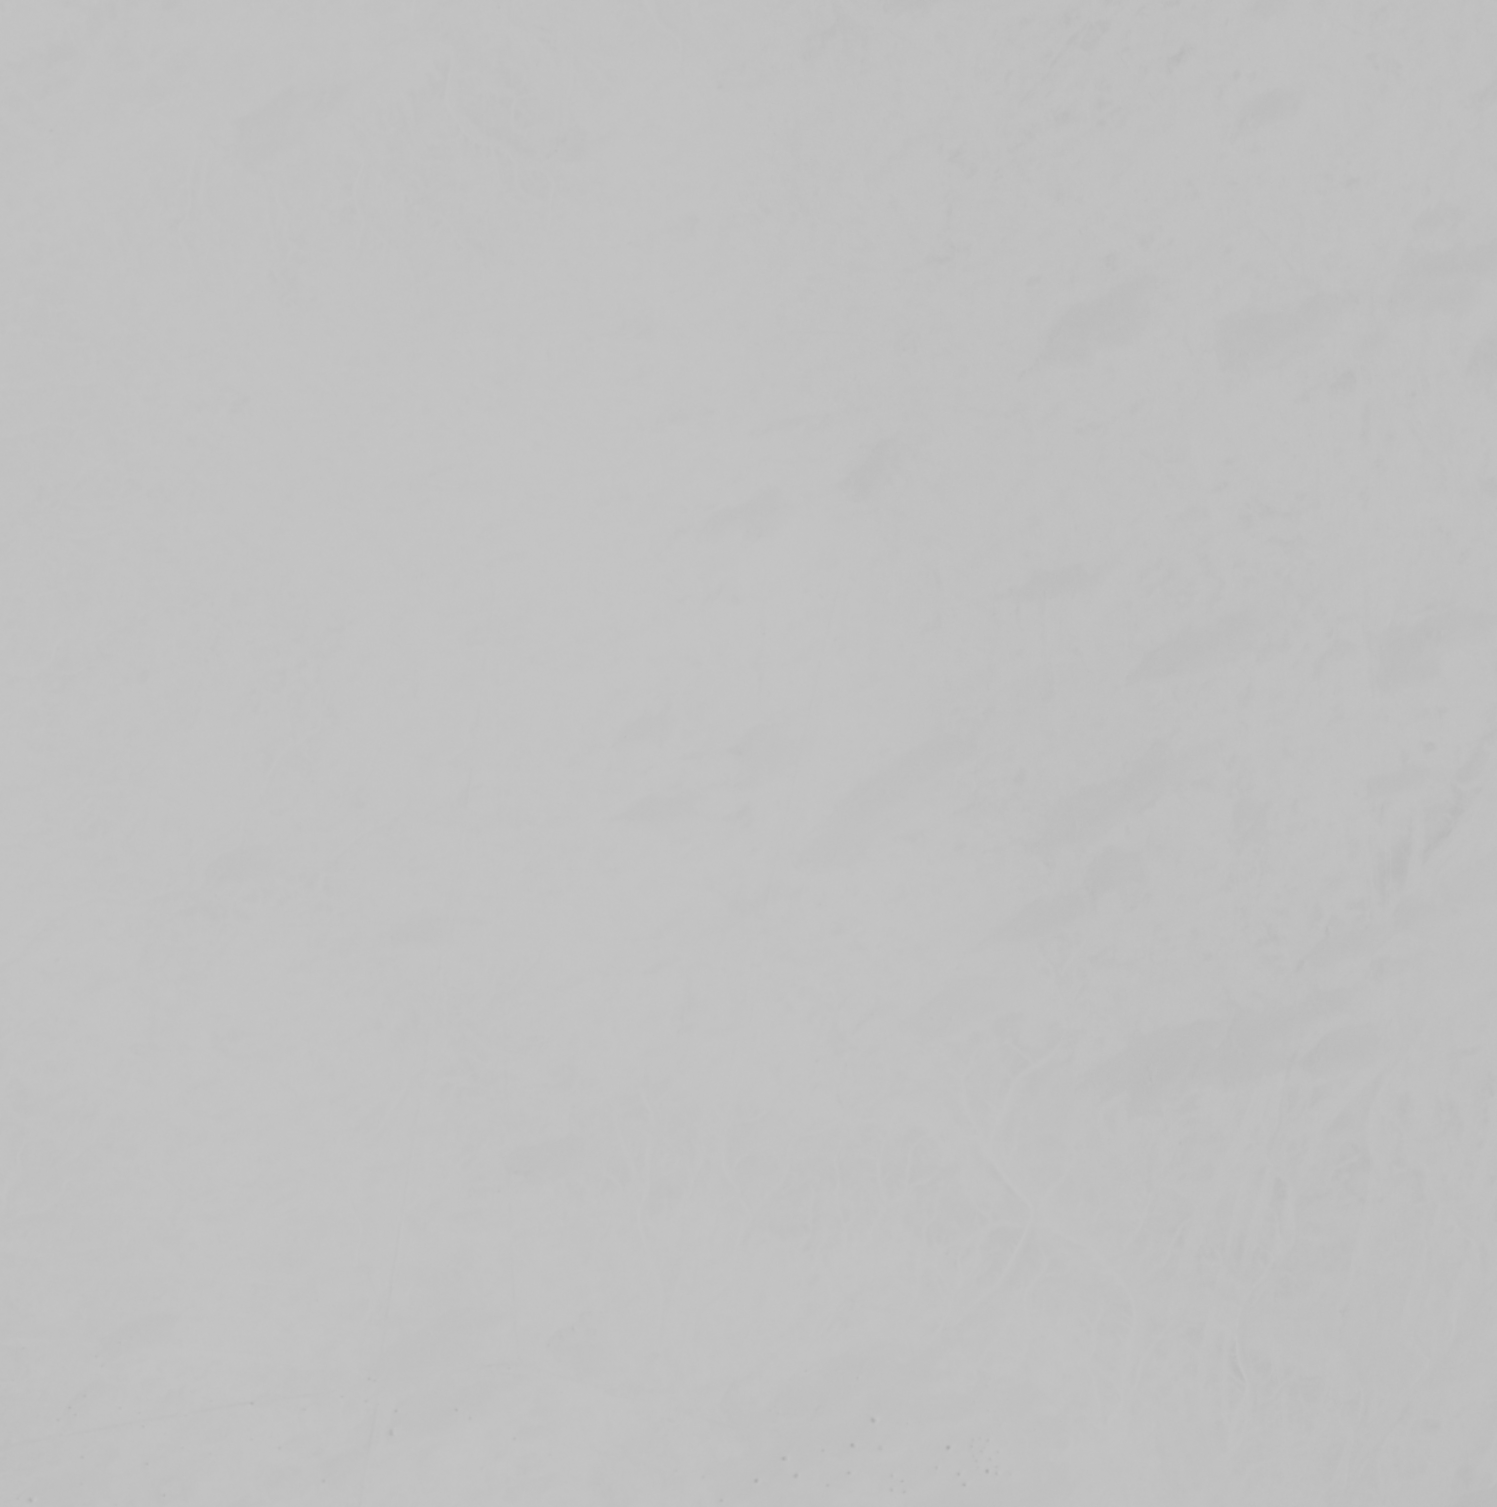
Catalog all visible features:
building: (862, 1504)

